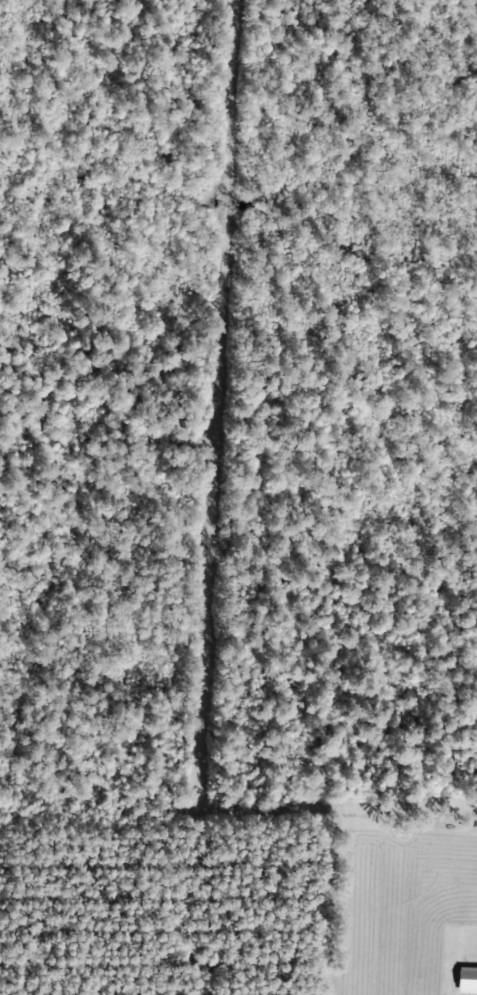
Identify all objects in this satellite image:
road: (217, 498)

